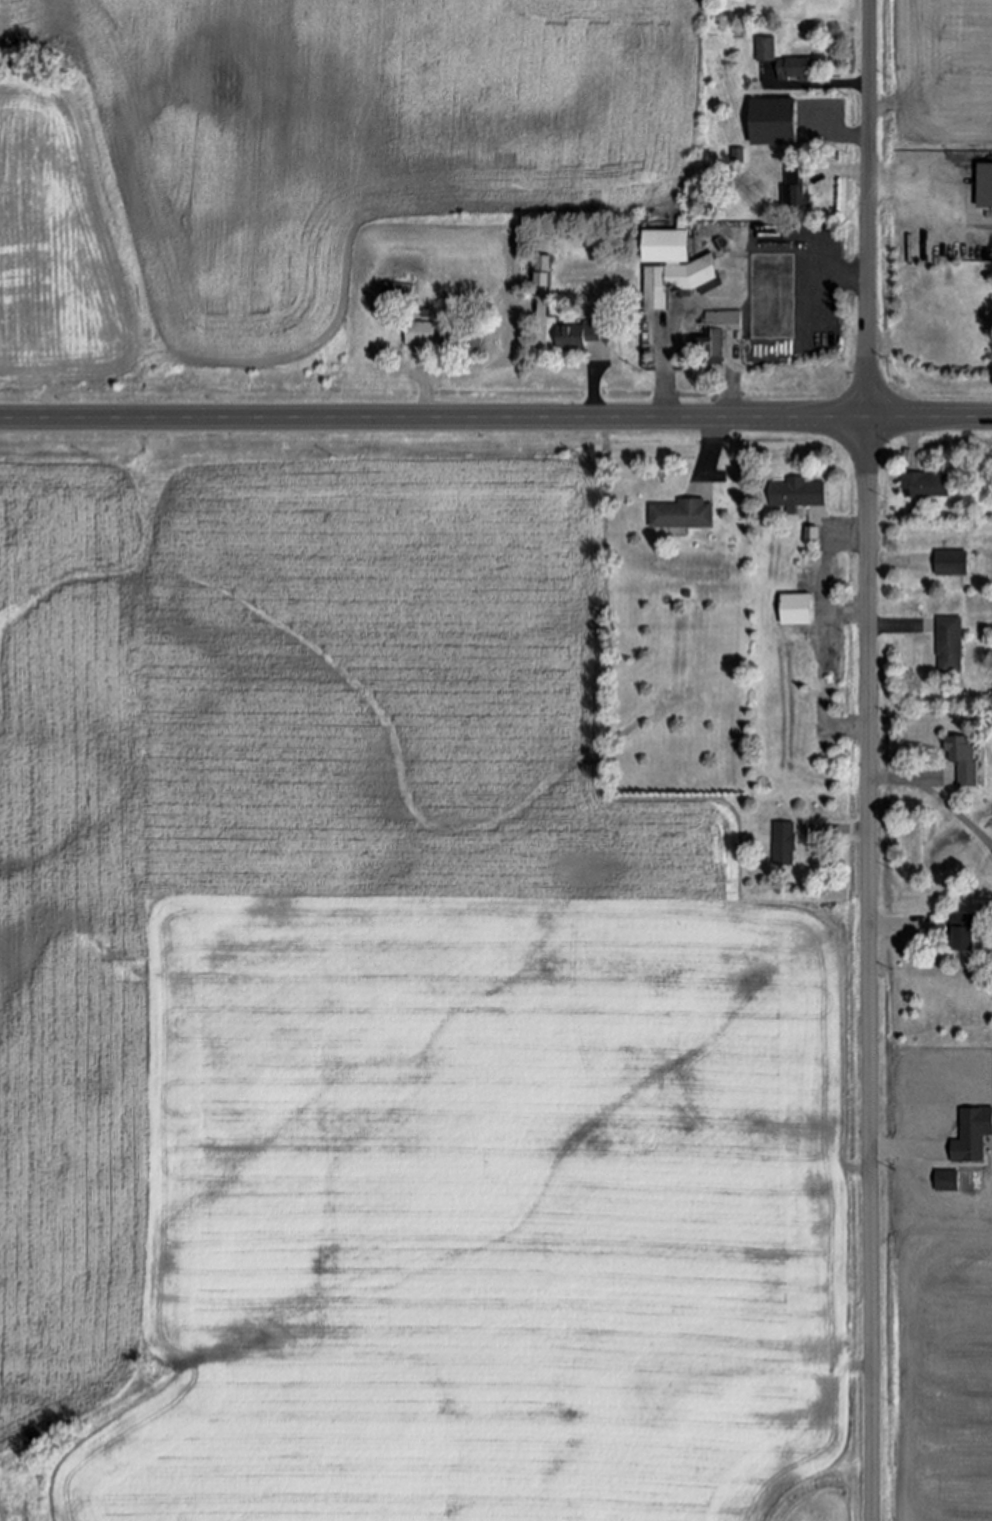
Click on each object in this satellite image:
building: (767, 51)
crop: (933, 72)
building: (798, 73)
road: (831, 85)
building: (776, 126)
building: (740, 159)
crop: (303, 171)
building: (985, 186)
building: (797, 192)
road: (909, 197)
building: (672, 267)
building: (542, 271)
building: (394, 297)
building: (733, 320)
building: (420, 334)
building: (579, 337)
building: (727, 346)
building: (713, 347)
road: (664, 391)
road: (423, 393)
road: (732, 393)
road: (593, 396)
road: (496, 419)
road: (712, 442)
building: (925, 487)
building: (798, 495)
building: (682, 515)
building: (813, 536)
building: (951, 564)
road: (896, 565)
building: (796, 611)
building: (951, 646)
road: (869, 760)
building: (960, 764)
road: (938, 796)
road: (844, 828)
building: (785, 846)
road: (899, 921)
building: (964, 934)
crop: (392, 1016)
building: (972, 1132)
building: (947, 1179)
crop: (935, 1371)

